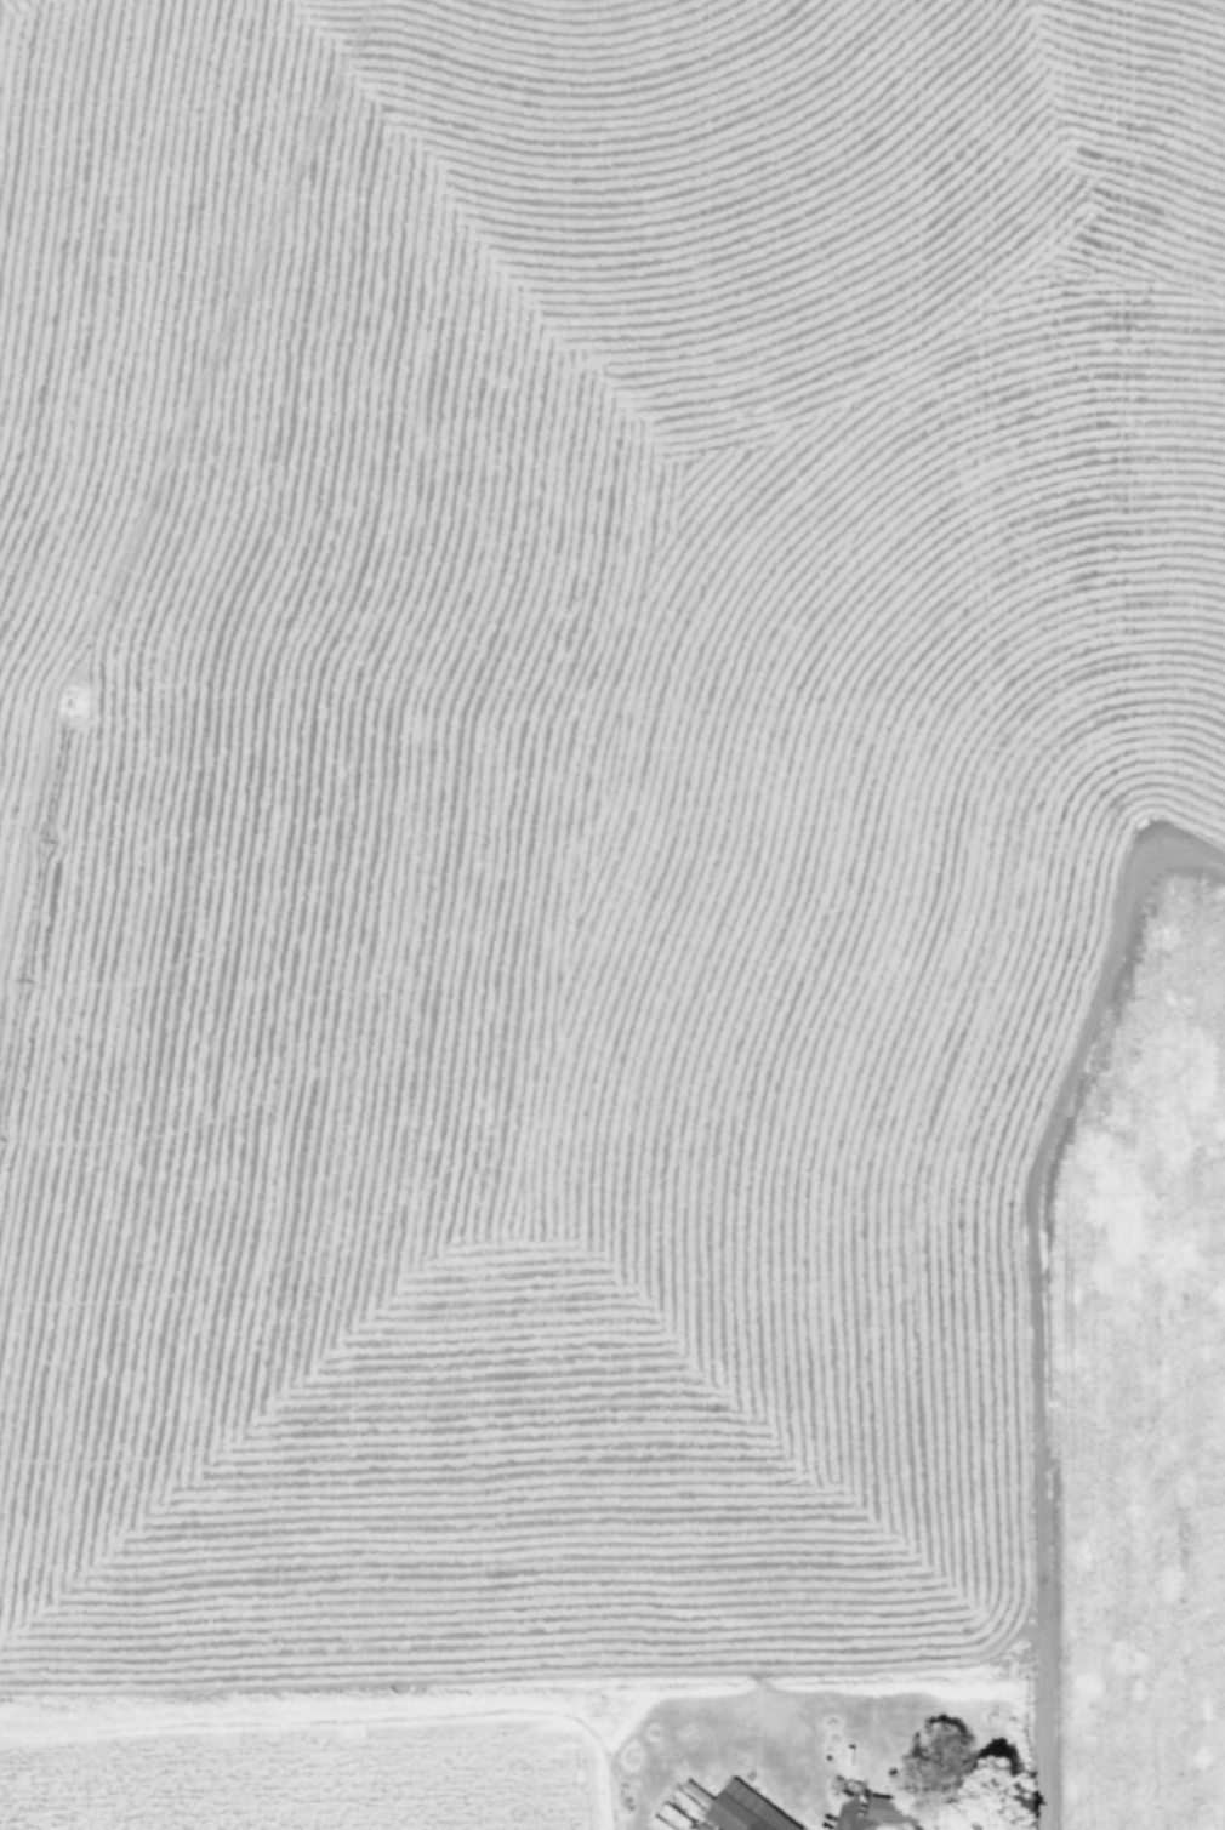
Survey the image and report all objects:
crop: (612, 914)
road: (1032, 1290)
building: (888, 1808)
building: (742, 1809)

